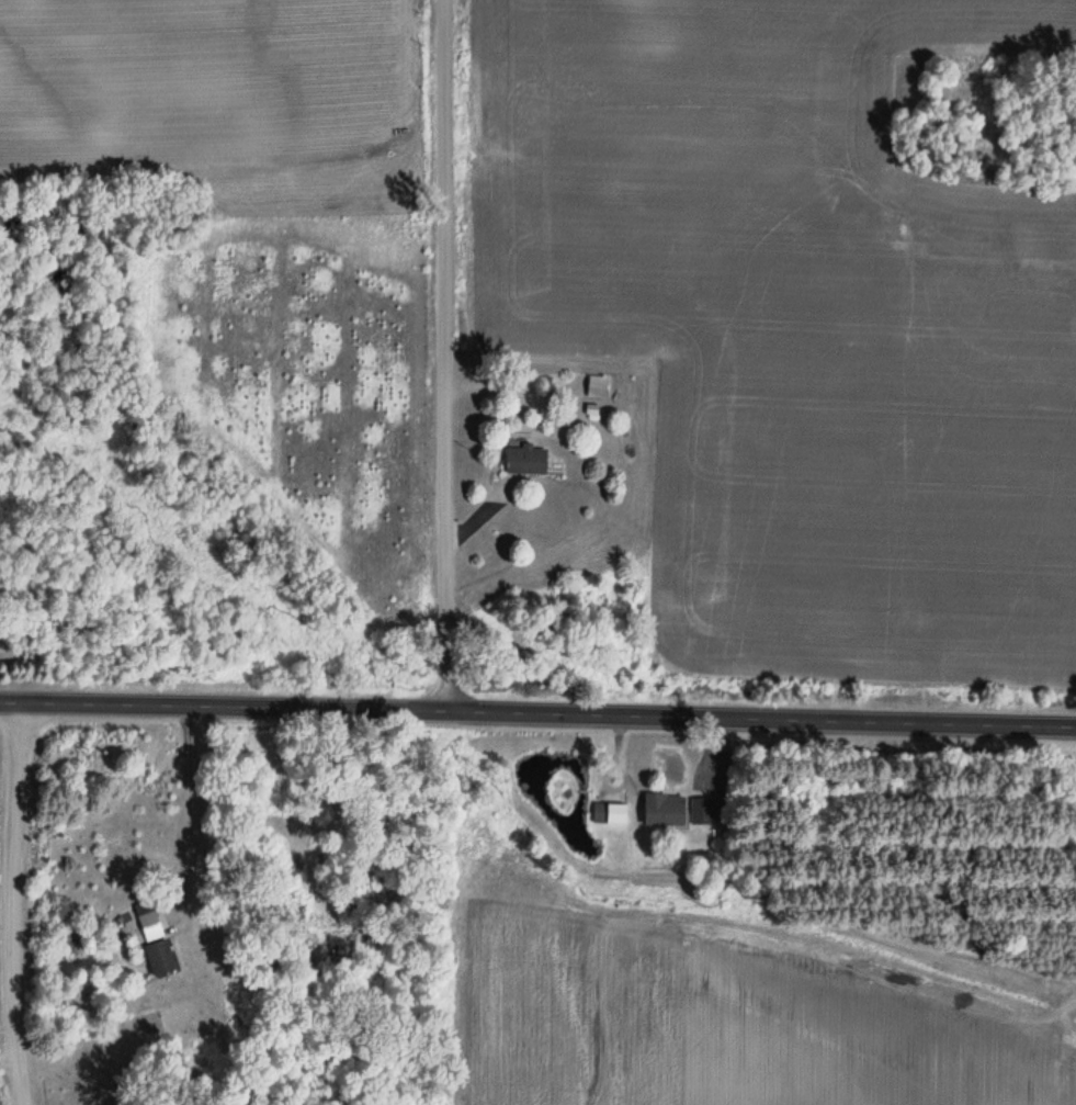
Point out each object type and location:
road: (432, 356)
building: (594, 386)
building: (522, 461)
road: (537, 713)
building: (661, 809)
building: (598, 812)
building: (158, 957)

